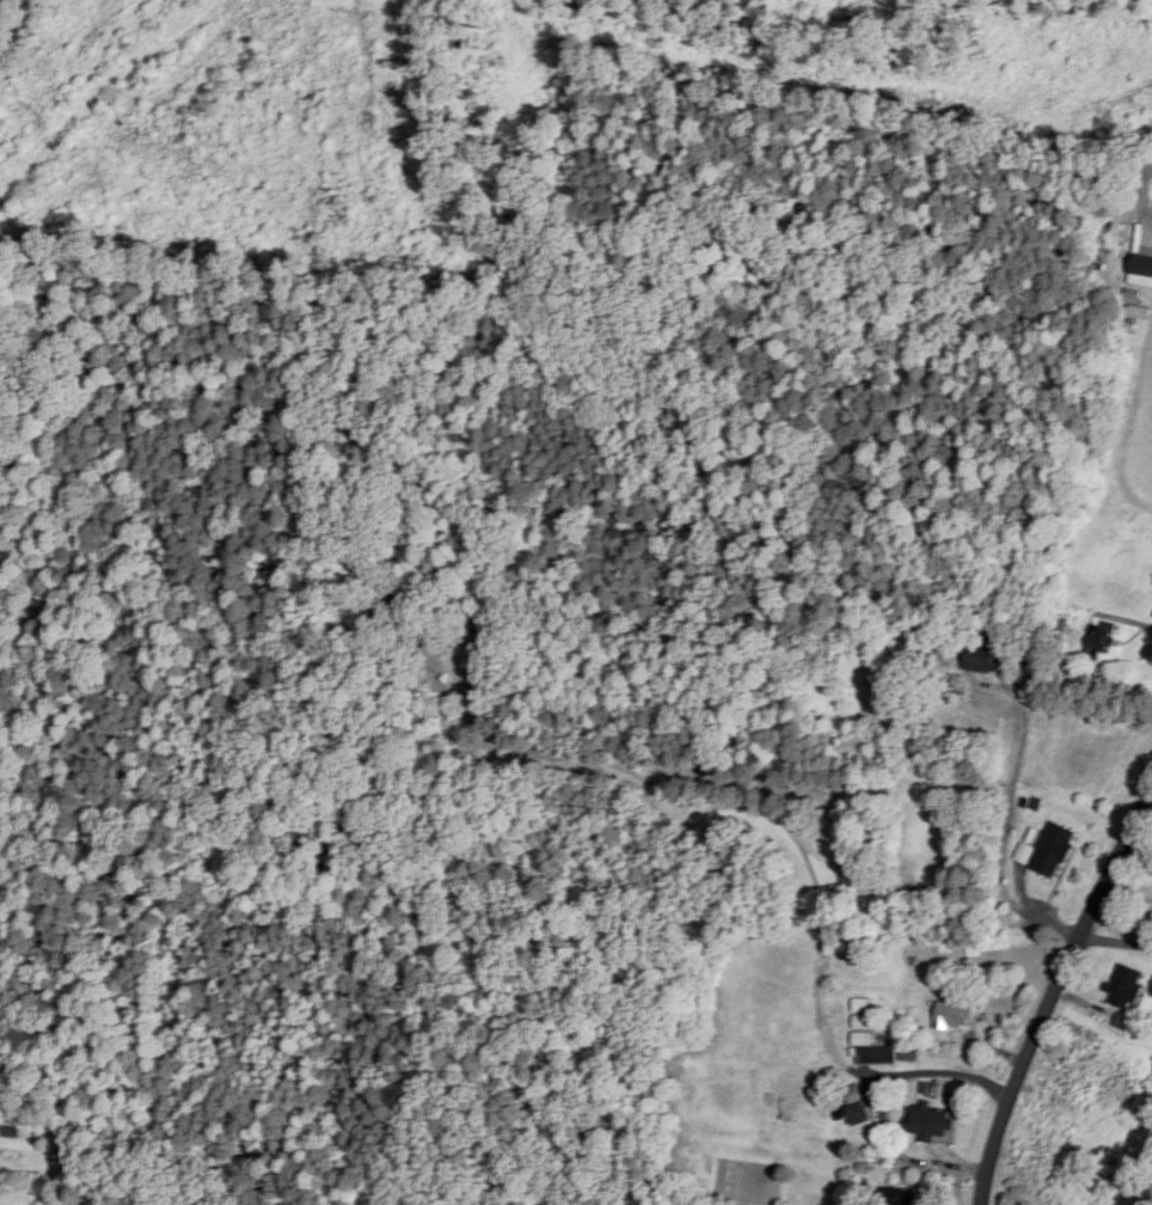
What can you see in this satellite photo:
building: (1103, 640)
building: (982, 657)
road: (1007, 797)
road: (727, 812)
building: (1055, 850)
road: (933, 855)
road: (828, 900)
road: (1115, 942)
building: (1128, 989)
road: (1054, 992)
building: (949, 1020)
building: (869, 1038)
road: (942, 1071)
building: (862, 1114)
building: (932, 1121)
building: (905, 1197)

